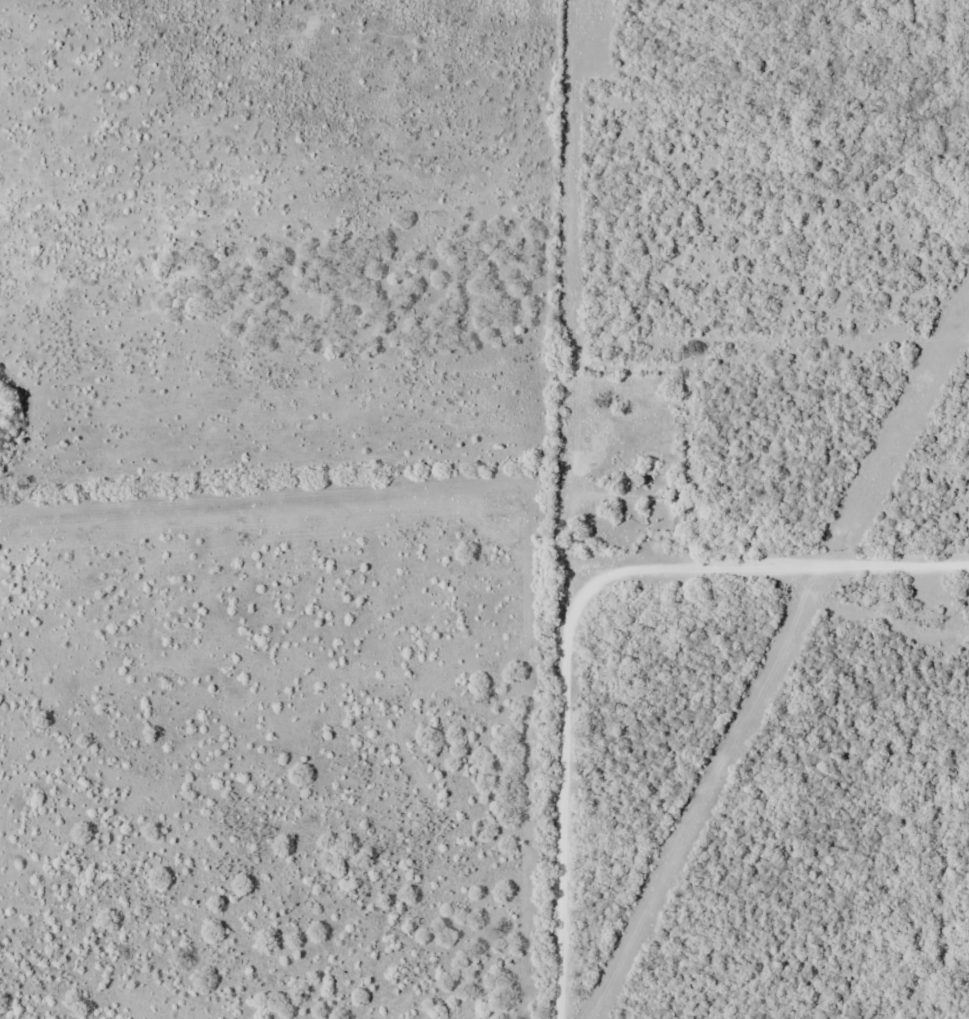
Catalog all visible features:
road: (572, 608)

